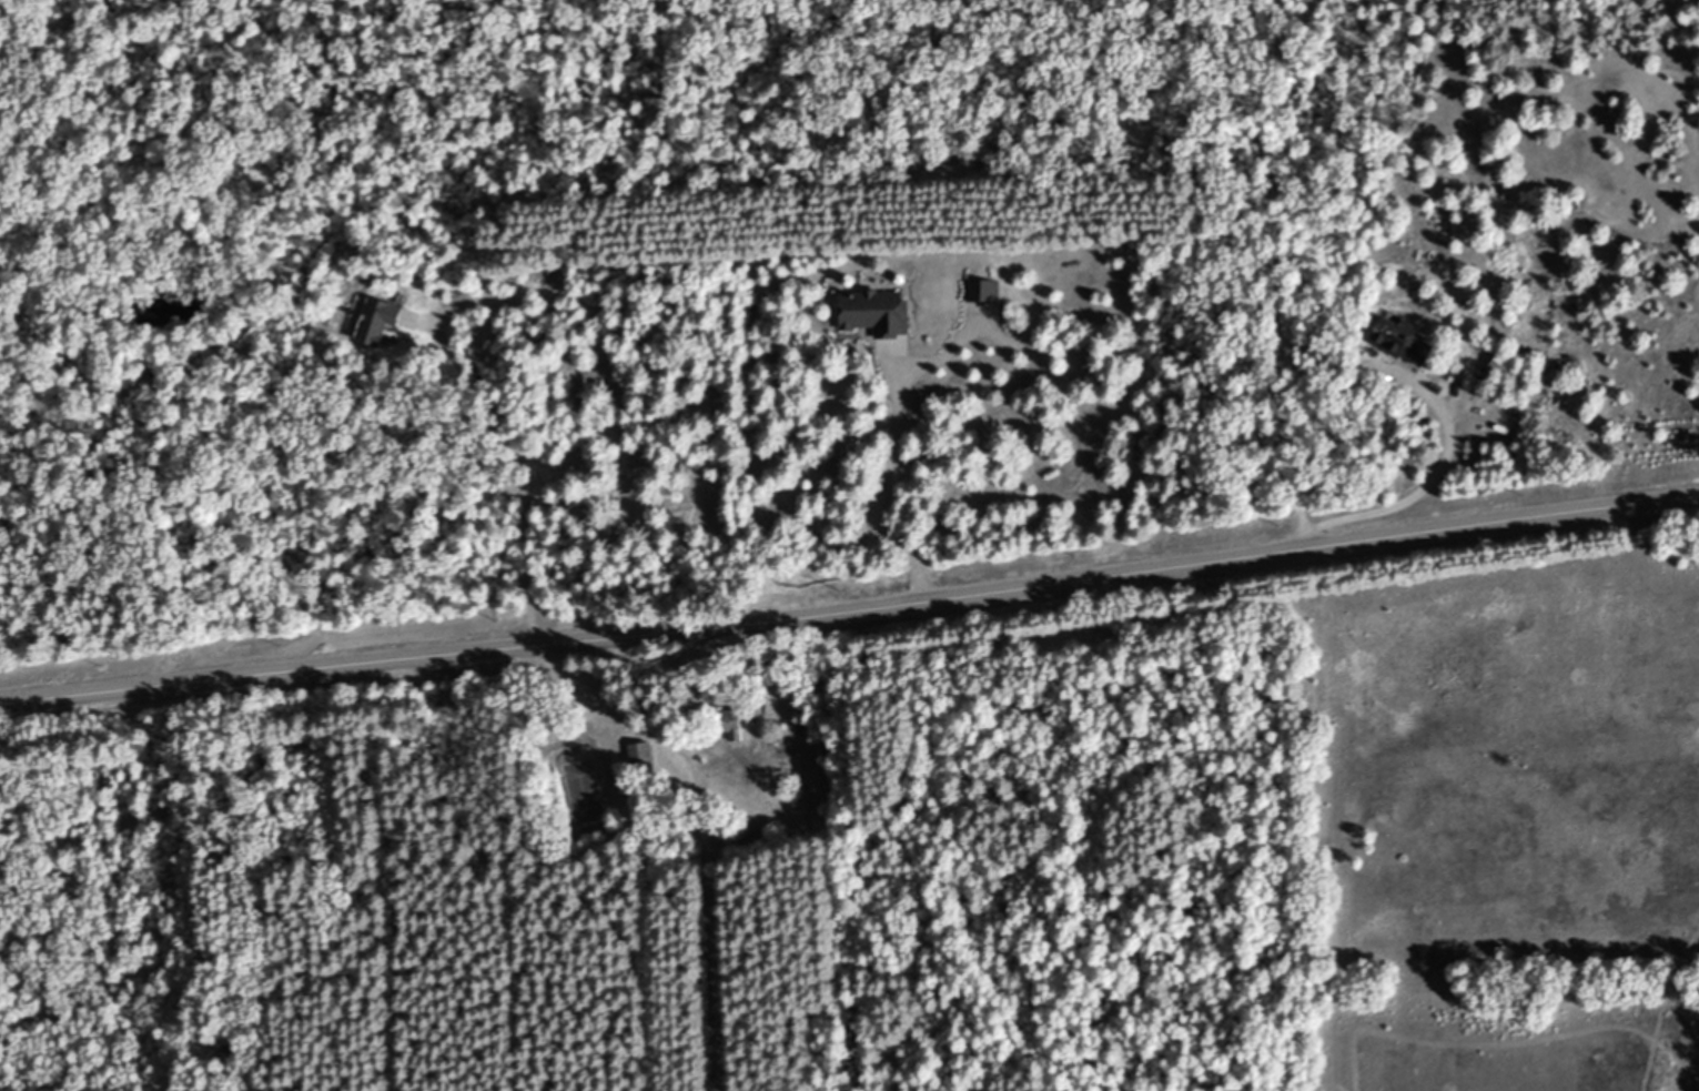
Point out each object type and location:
building: (980, 292)
building: (872, 312)
building: (375, 321)
building: (1402, 341)
road: (1276, 388)
road: (886, 445)
road: (513, 467)
road: (1409, 493)
road: (850, 607)
building: (731, 728)
building: (637, 754)
road: (1009, 815)
road: (698, 834)
road: (1201, 1036)

